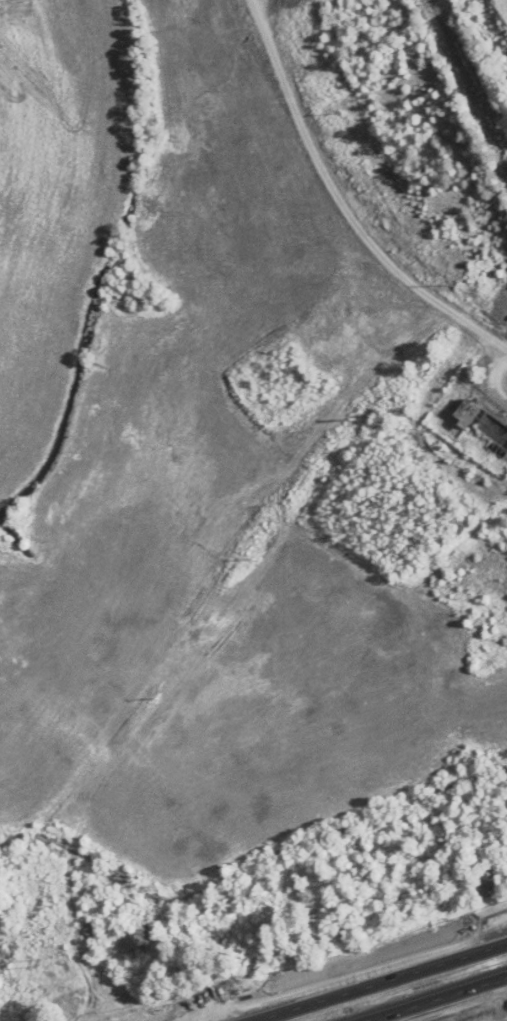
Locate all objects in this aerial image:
quarry: (494, 24)
railway: (471, 69)
building: (469, 414)
road: (375, 981)
road: (430, 997)

